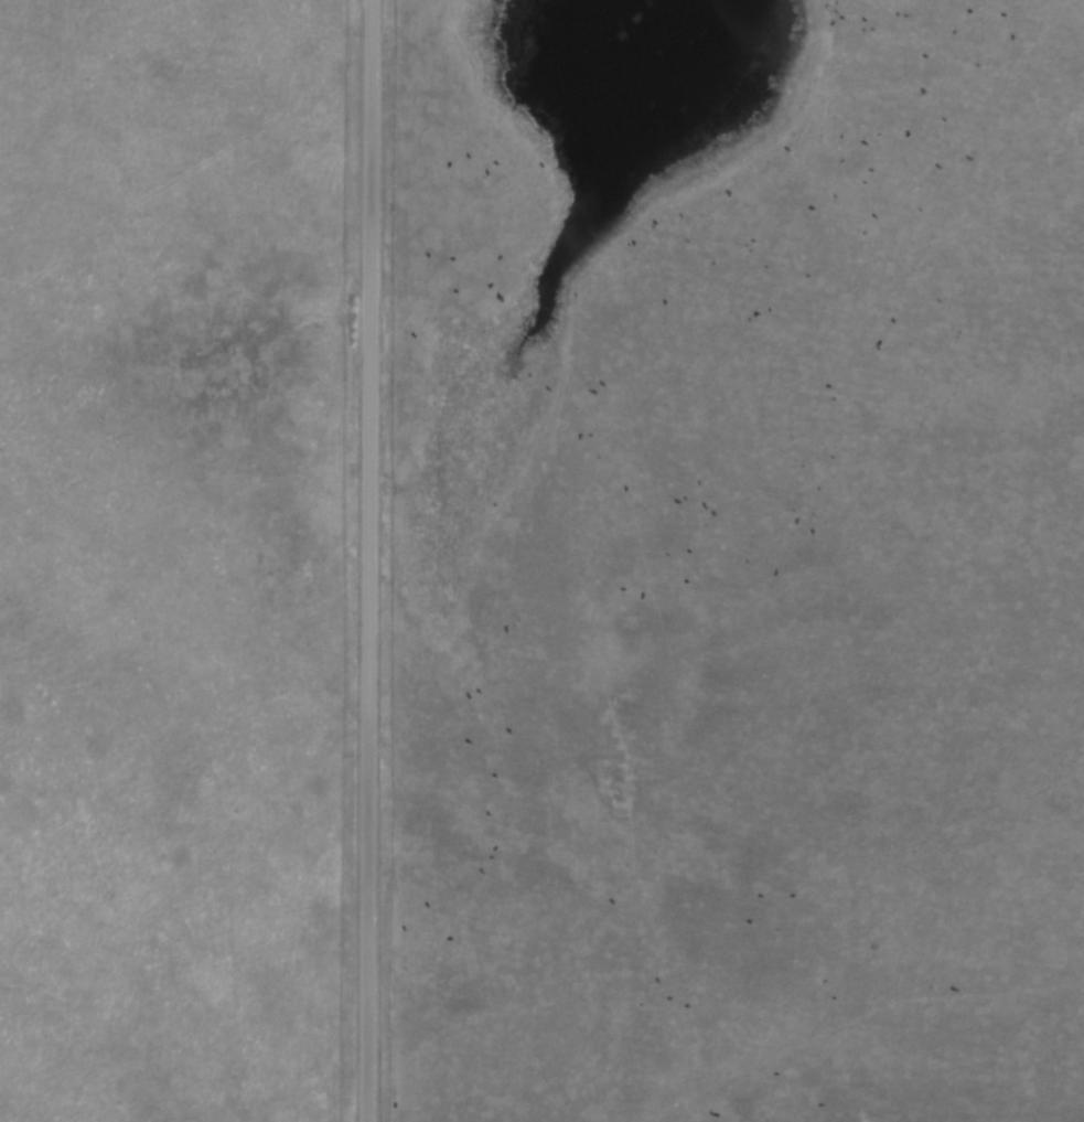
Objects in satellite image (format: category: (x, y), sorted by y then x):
road: (367, 560)

